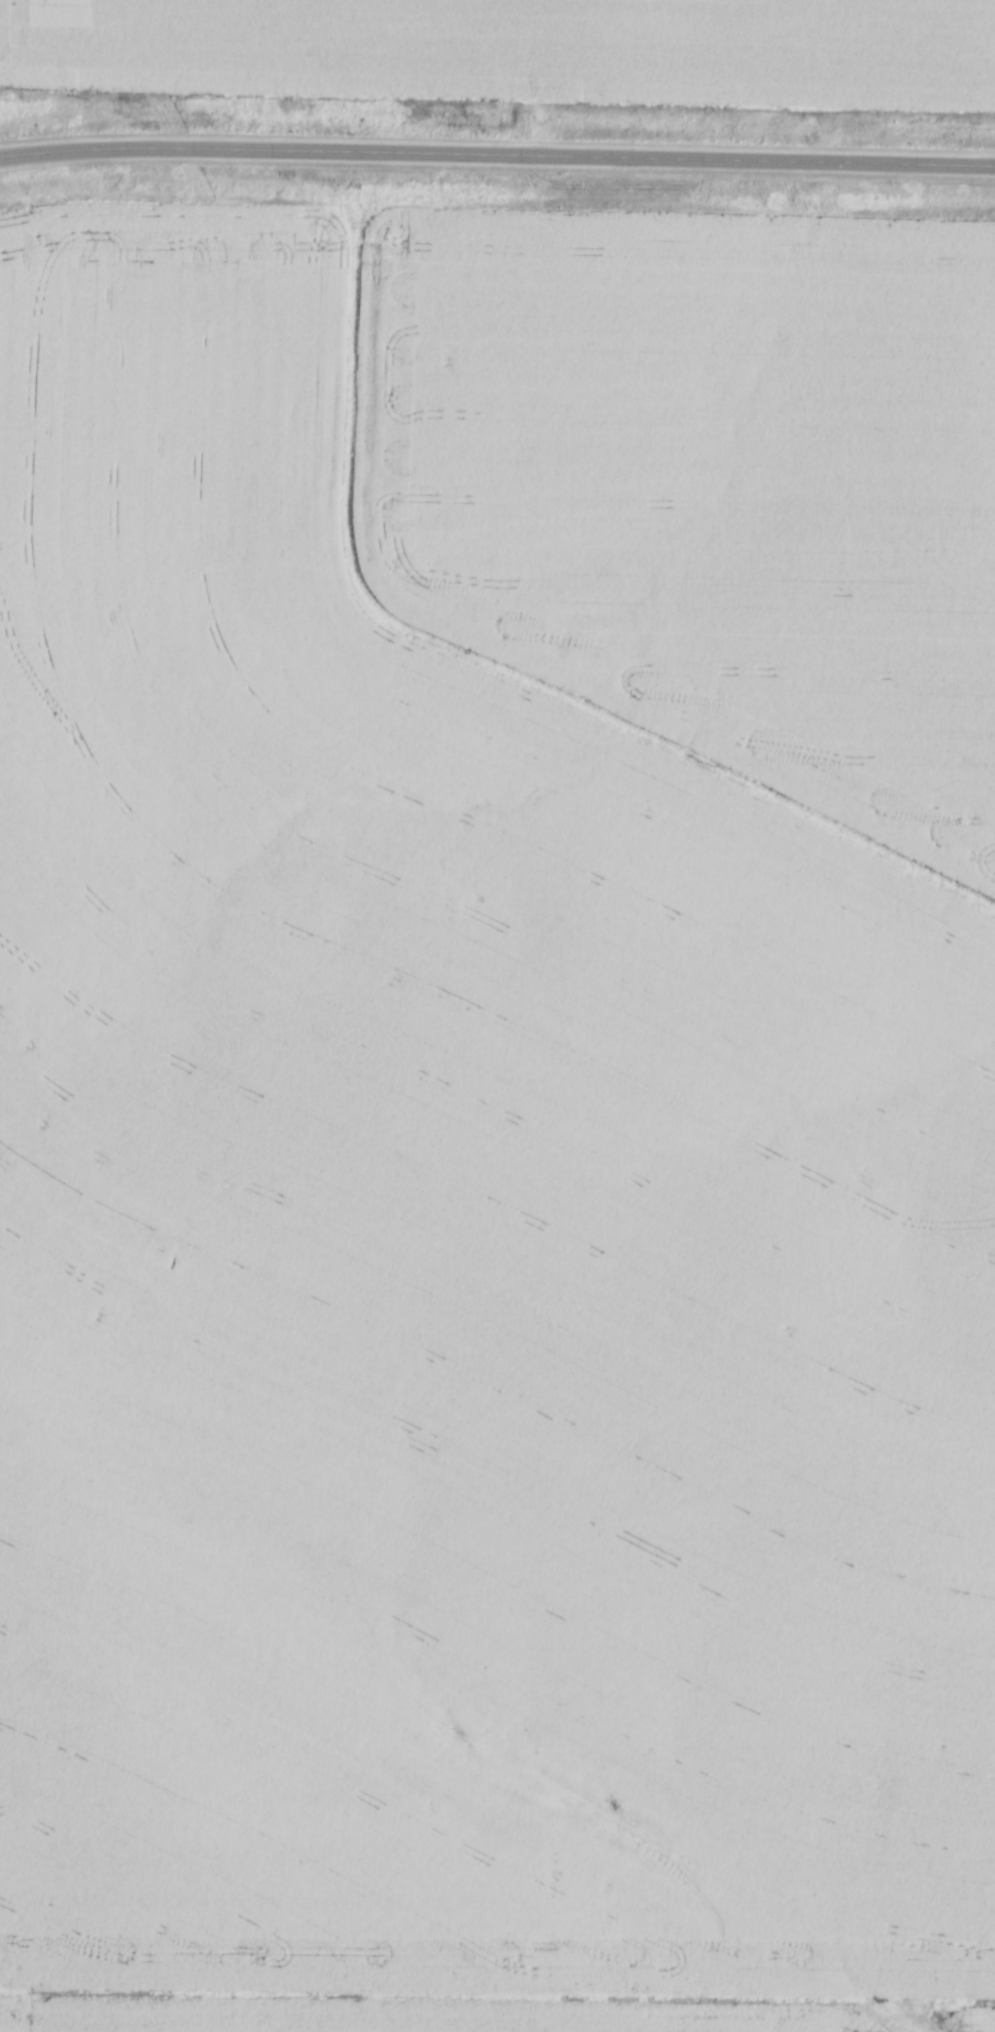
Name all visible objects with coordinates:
road: (497, 149)

